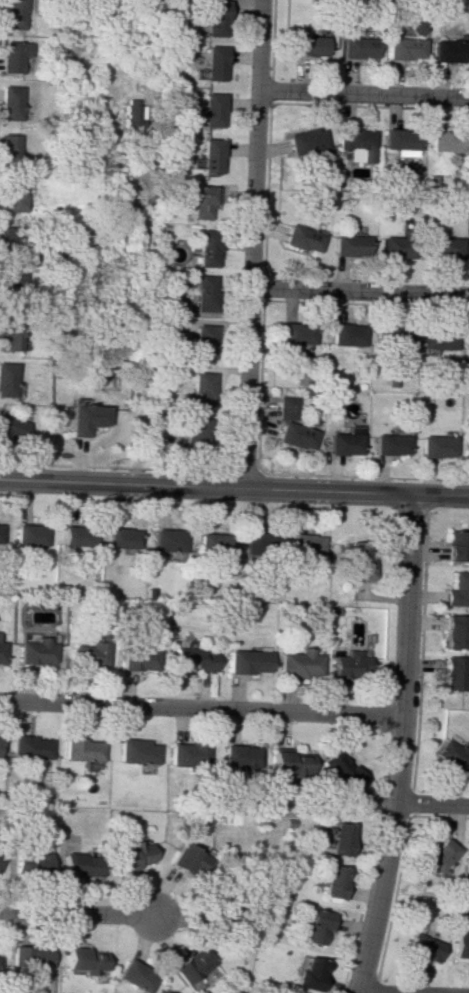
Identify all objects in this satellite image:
building: (11, 11)
building: (212, 15)
building: (415, 26)
building: (306, 45)
building: (399, 45)
building: (358, 46)
building: (446, 49)
building: (12, 59)
building: (213, 63)
road: (363, 93)
building: (9, 102)
building: (131, 112)
building: (211, 113)
building: (356, 137)
building: (400, 138)
building: (446, 139)
building: (302, 140)
building: (8, 149)
building: (209, 153)
building: (10, 193)
building: (201, 201)
building: (300, 237)
building: (7, 241)
building: (395, 243)
road: (252, 244)
building: (346, 244)
building: (440, 245)
building: (206, 246)
building: (468, 252)
building: (8, 287)
building: (205, 290)
road: (359, 293)
road: (144, 314)
building: (347, 333)
building: (294, 334)
building: (9, 335)
building: (389, 335)
building: (441, 337)
building: (200, 340)
building: (468, 344)
building: (4, 379)
building: (204, 384)
building: (287, 407)
building: (86, 418)
building: (4, 424)
building: (188, 434)
building: (295, 435)
building: (388, 440)
building: (341, 443)
building: (434, 446)
building: (465, 446)
road: (234, 489)
building: (0, 524)
building: (0, 537)
building: (32, 539)
building: (79, 539)
building: (122, 541)
building: (169, 543)
building: (260, 544)
building: (217, 546)
building: (454, 546)
building: (305, 550)
building: (358, 560)
building: (457, 589)
building: (452, 632)
building: (2, 651)
building: (36, 651)
building: (88, 655)
building: (137, 657)
building: (192, 659)
building: (240, 662)
building: (294, 664)
building: (344, 665)
building: (450, 673)
road: (200, 708)
building: (29, 745)
road: (397, 745)
building: (79, 750)
building: (134, 750)
building: (184, 754)
building: (451, 754)
building: (237, 755)
building: (287, 760)
building: (338, 769)
road: (431, 805)
building: (339, 839)
building: (438, 855)
building: (468, 856)
building: (127, 857)
building: (24, 862)
building: (181, 863)
building: (71, 864)
building: (333, 881)
building: (215, 905)
road: (80, 913)
building: (315, 926)
building: (461, 944)
building: (421, 946)
building: (75, 957)
building: (28, 958)
building: (186, 966)
building: (310, 974)
building: (131, 976)

